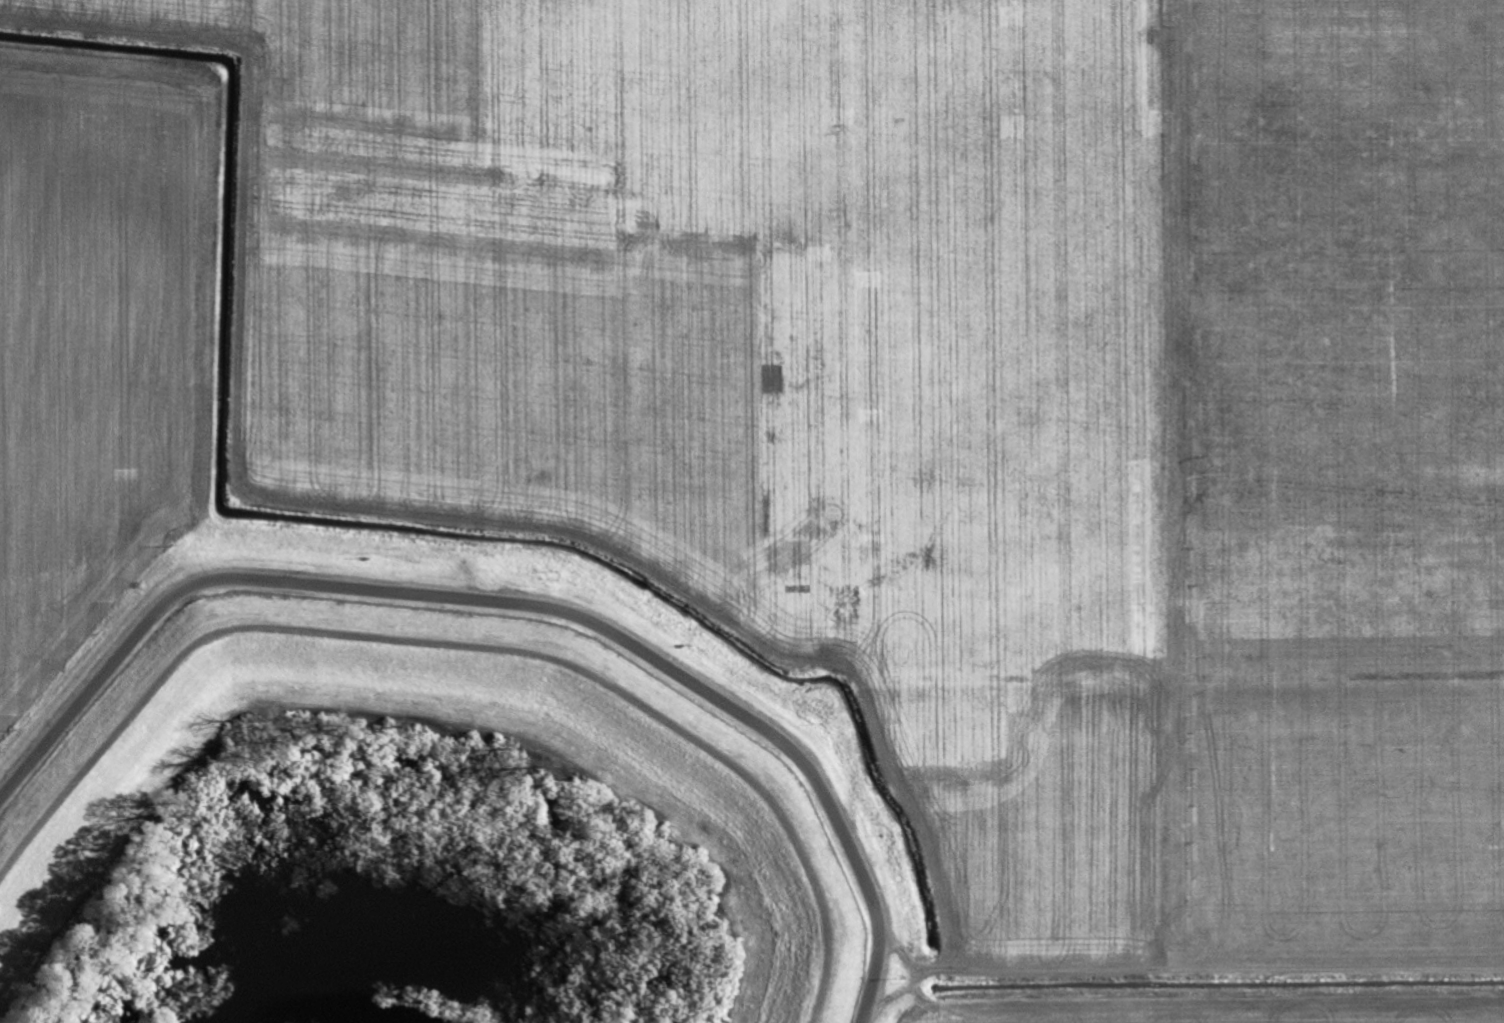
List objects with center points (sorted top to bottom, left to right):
road: (515, 603)
road: (471, 646)

